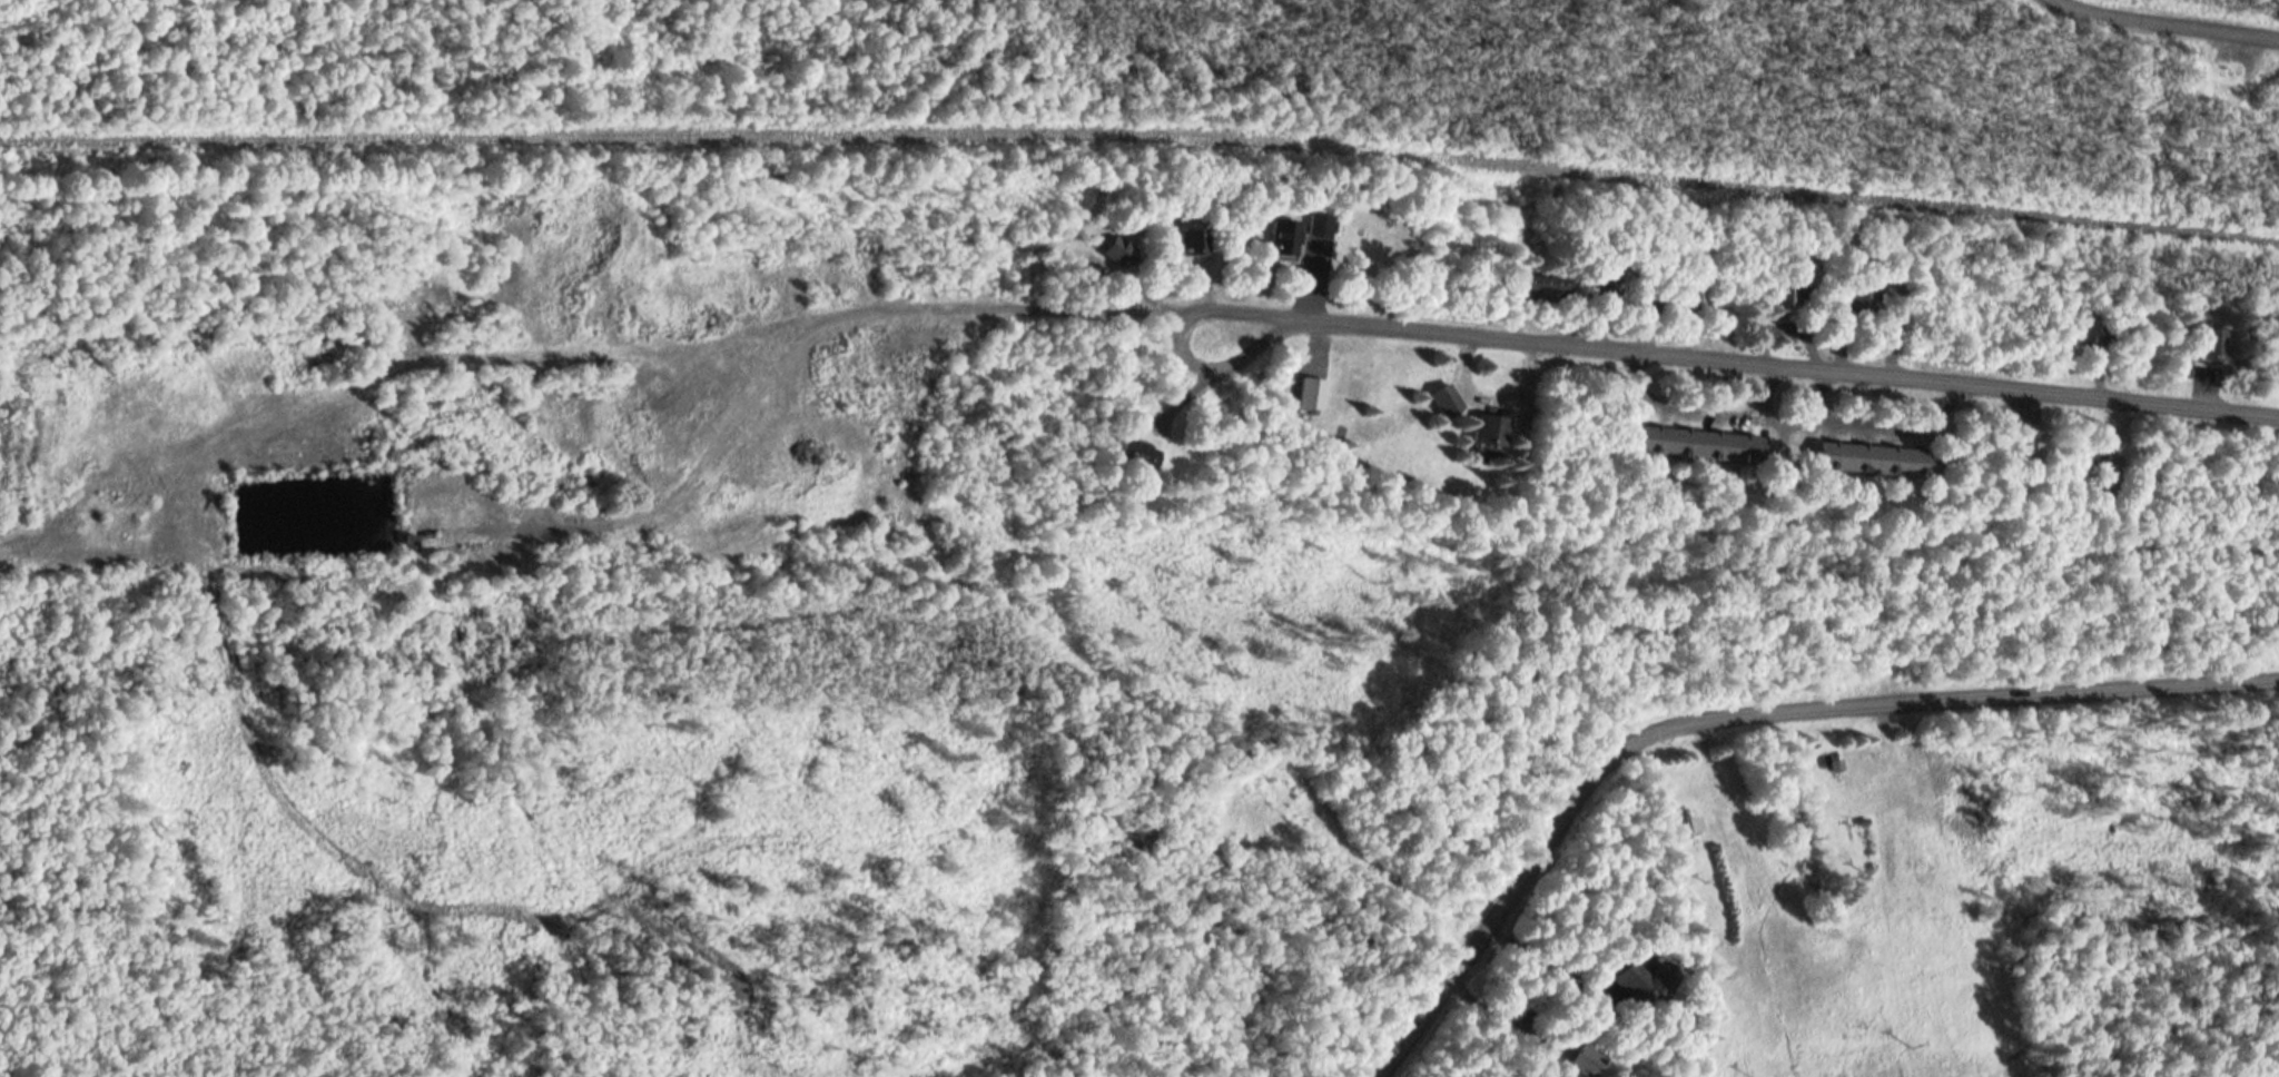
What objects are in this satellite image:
road: (2165, 16)
railway: (1142, 126)
building: (1320, 227)
building: (1283, 238)
building: (1187, 240)
building: (1116, 251)
building: (1535, 287)
building: (1604, 288)
building: (1693, 293)
building: (1855, 298)
building: (1784, 300)
building: (2090, 329)
road: (740, 339)
building: (2208, 346)
road: (1897, 382)
building: (1444, 401)
building: (1490, 434)
building: (1698, 445)
building: (2022, 455)
building: (1136, 456)
building: (1875, 461)
building: (2110, 474)
road: (1746, 715)
ski resort: (1839, 715)
aerialway pylon: (1848, 819)
aerialway pylon: (1862, 869)
aerialway pylon: (1708, 881)
building: (1641, 980)
aerialway pylon: (1913, 1046)
building: (1587, 1061)

